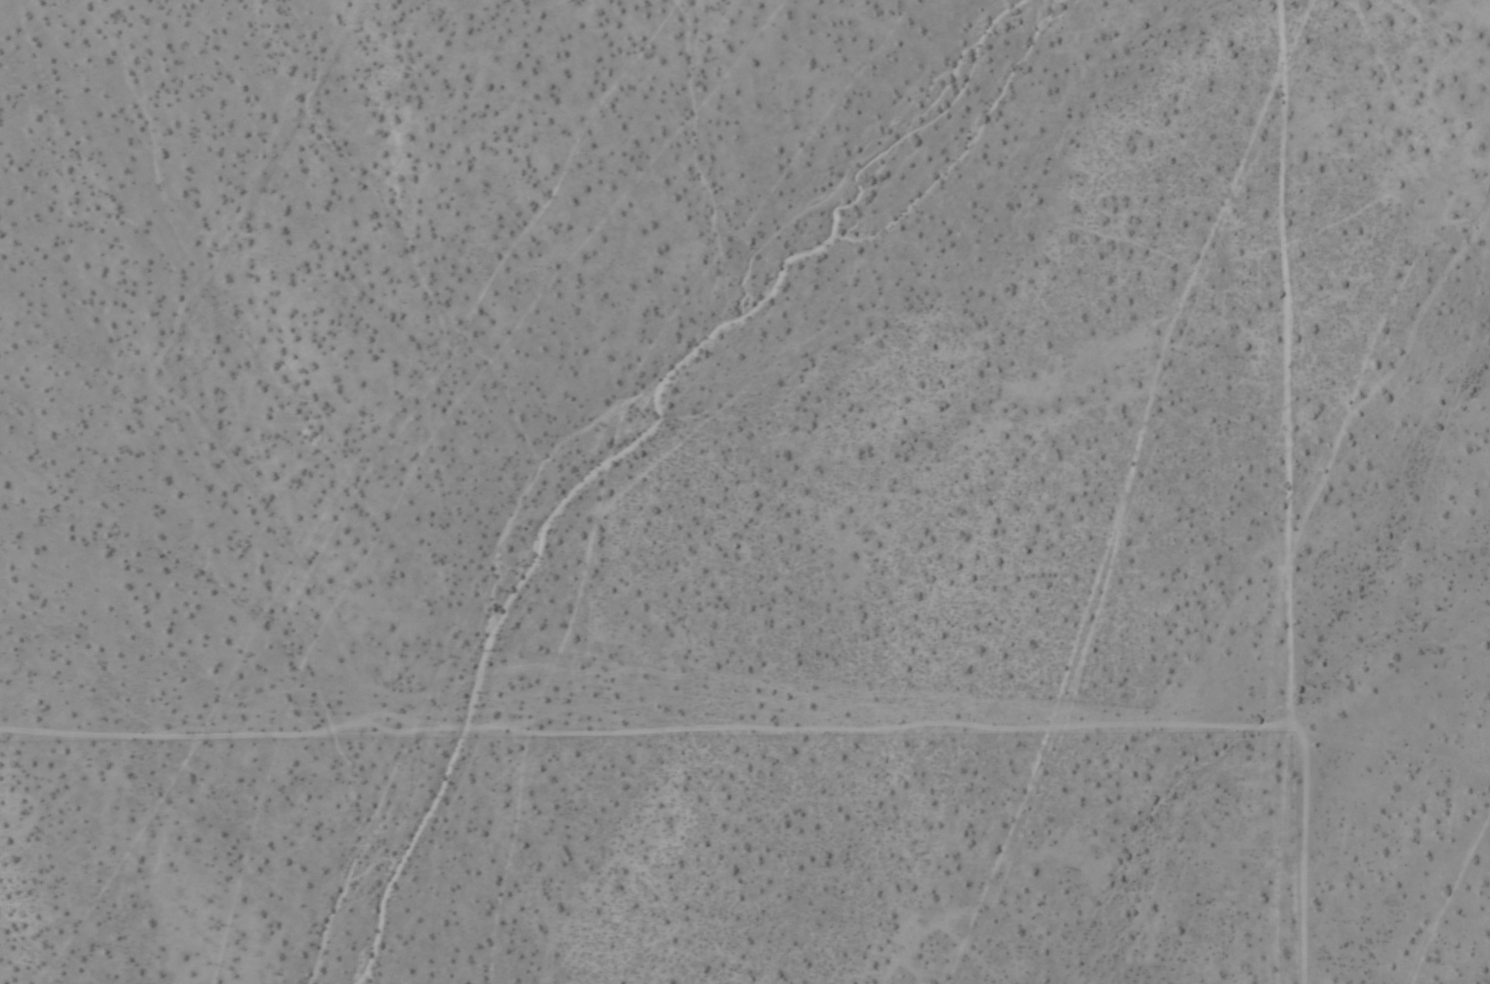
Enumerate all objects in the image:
park: (1332, 28)
crop: (745, 492)

